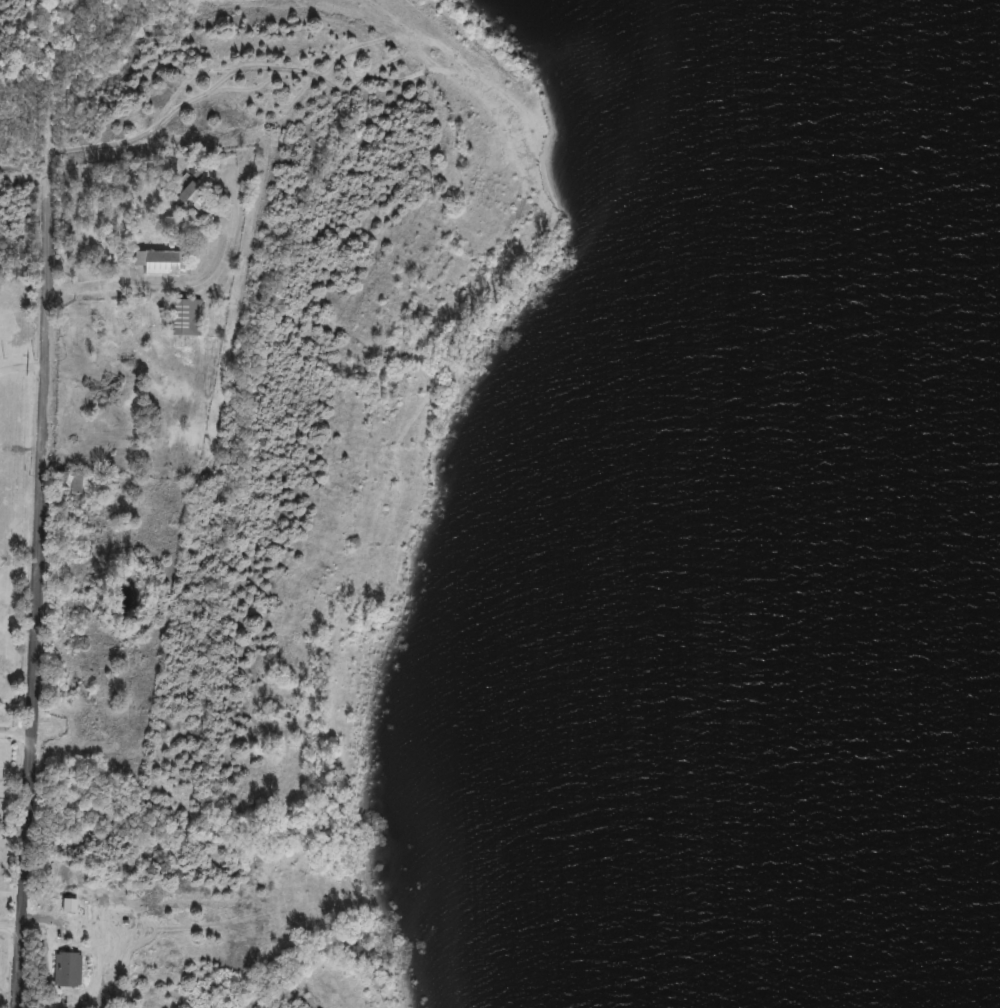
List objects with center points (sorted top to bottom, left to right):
road: (51, 89)
building: (187, 192)
building: (163, 261)
road: (154, 287)
building: (186, 317)
road: (21, 364)
building: (71, 481)
road: (36, 593)
road: (16, 735)
road: (14, 774)
road: (13, 834)
road: (11, 892)
road: (10, 928)
building: (68, 970)

